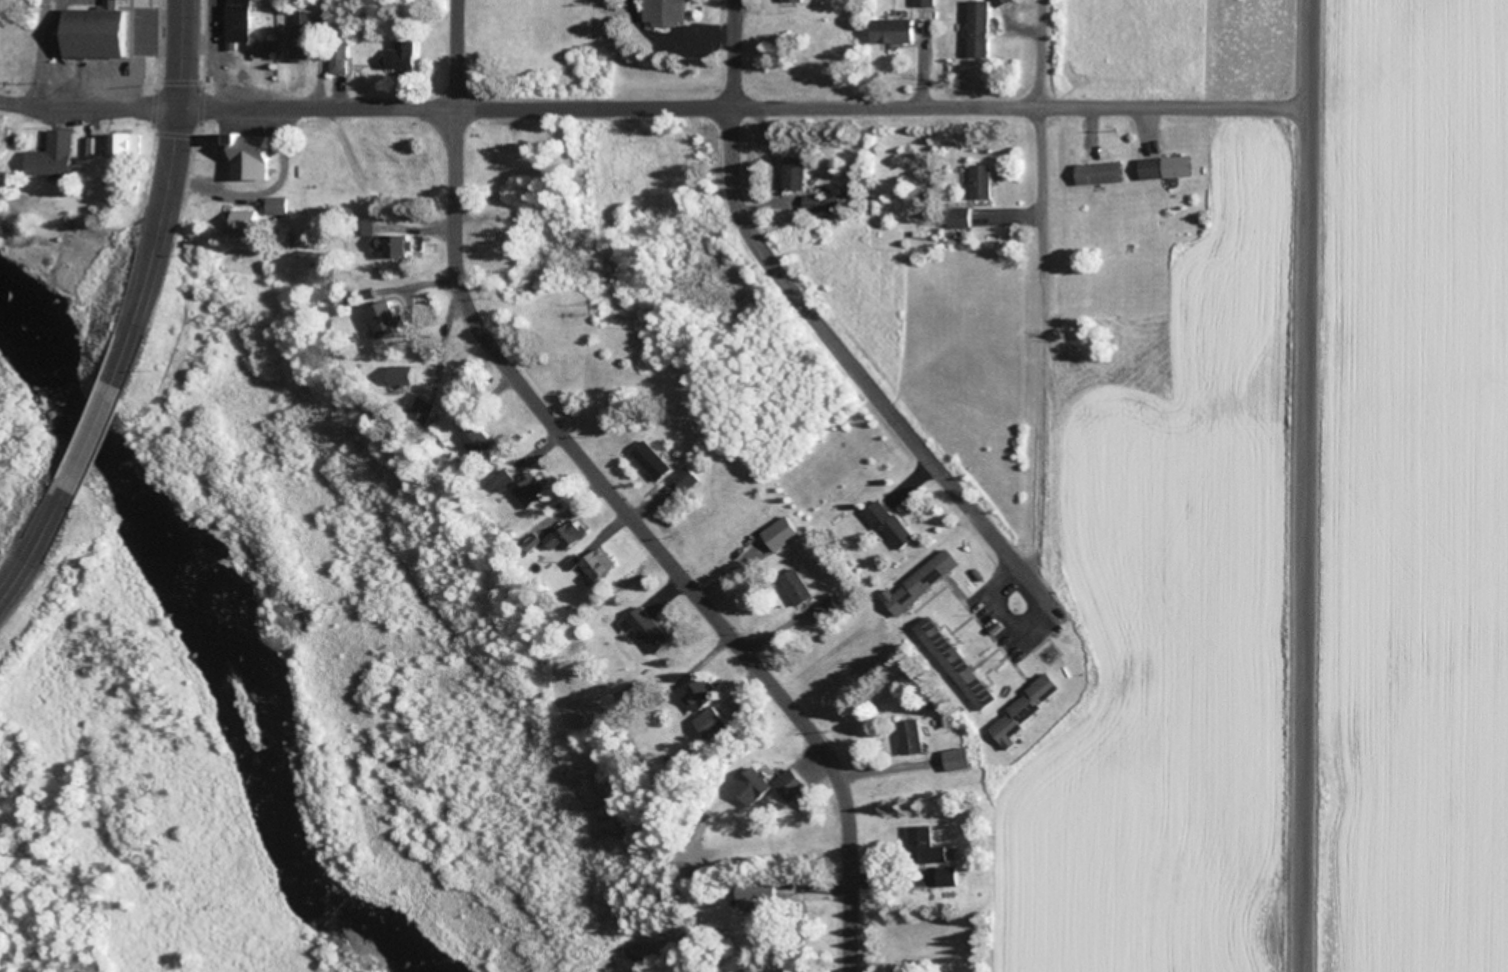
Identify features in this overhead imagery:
building: (929, 2)
building: (675, 11)
building: (245, 19)
building: (309, 21)
building: (986, 26)
building: (899, 28)
building: (101, 30)
crop: (1258, 48)
road: (44, 52)
road: (325, 52)
building: (407, 54)
road: (734, 101)
road: (657, 104)
building: (117, 142)
building: (60, 152)
building: (1169, 165)
building: (802, 170)
building: (1106, 170)
building: (987, 179)
road: (170, 182)
building: (252, 217)
building: (399, 242)
road: (1042, 290)
building: (392, 318)
building: (412, 373)
building: (428, 406)
road: (894, 412)
road: (100, 436)
building: (481, 439)
building: (658, 458)
building: (692, 475)
building: (510, 477)
road: (1311, 485)
crop: (1412, 488)
building: (537, 489)
road: (615, 500)
building: (895, 522)
building: (572, 535)
road: (31, 558)
building: (601, 567)
building: (927, 579)
building: (802, 585)
crop: (1180, 619)
building: (653, 627)
river: (236, 638)
building: (962, 661)
building: (1032, 706)
building: (712, 710)
building: (917, 734)
building: (963, 757)
building: (775, 783)
building: (930, 844)

